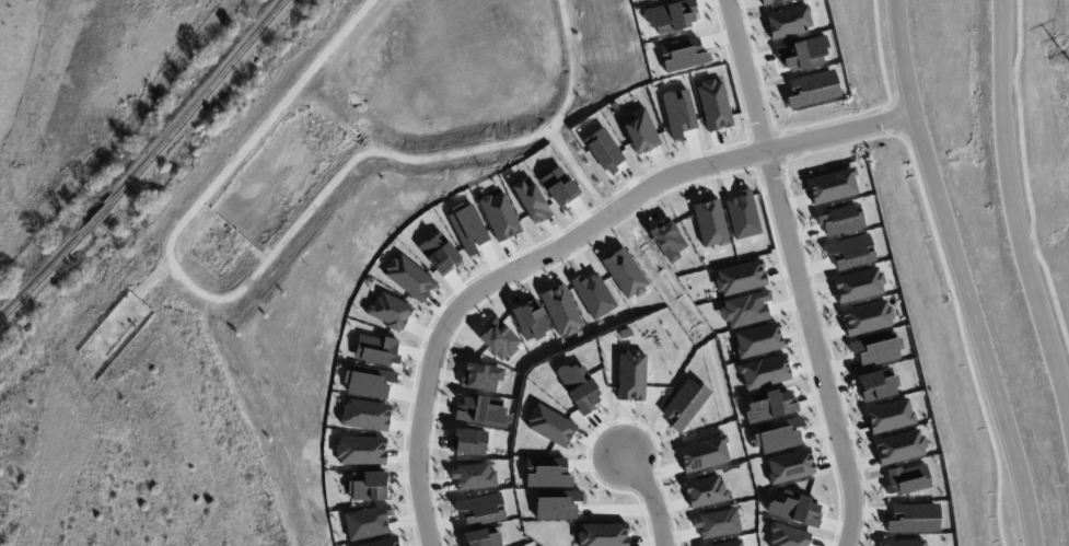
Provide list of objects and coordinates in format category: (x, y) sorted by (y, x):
railway: (148, 163)
road: (1011, 210)
road: (563, 243)
road: (795, 272)
road: (960, 272)
road: (650, 497)

